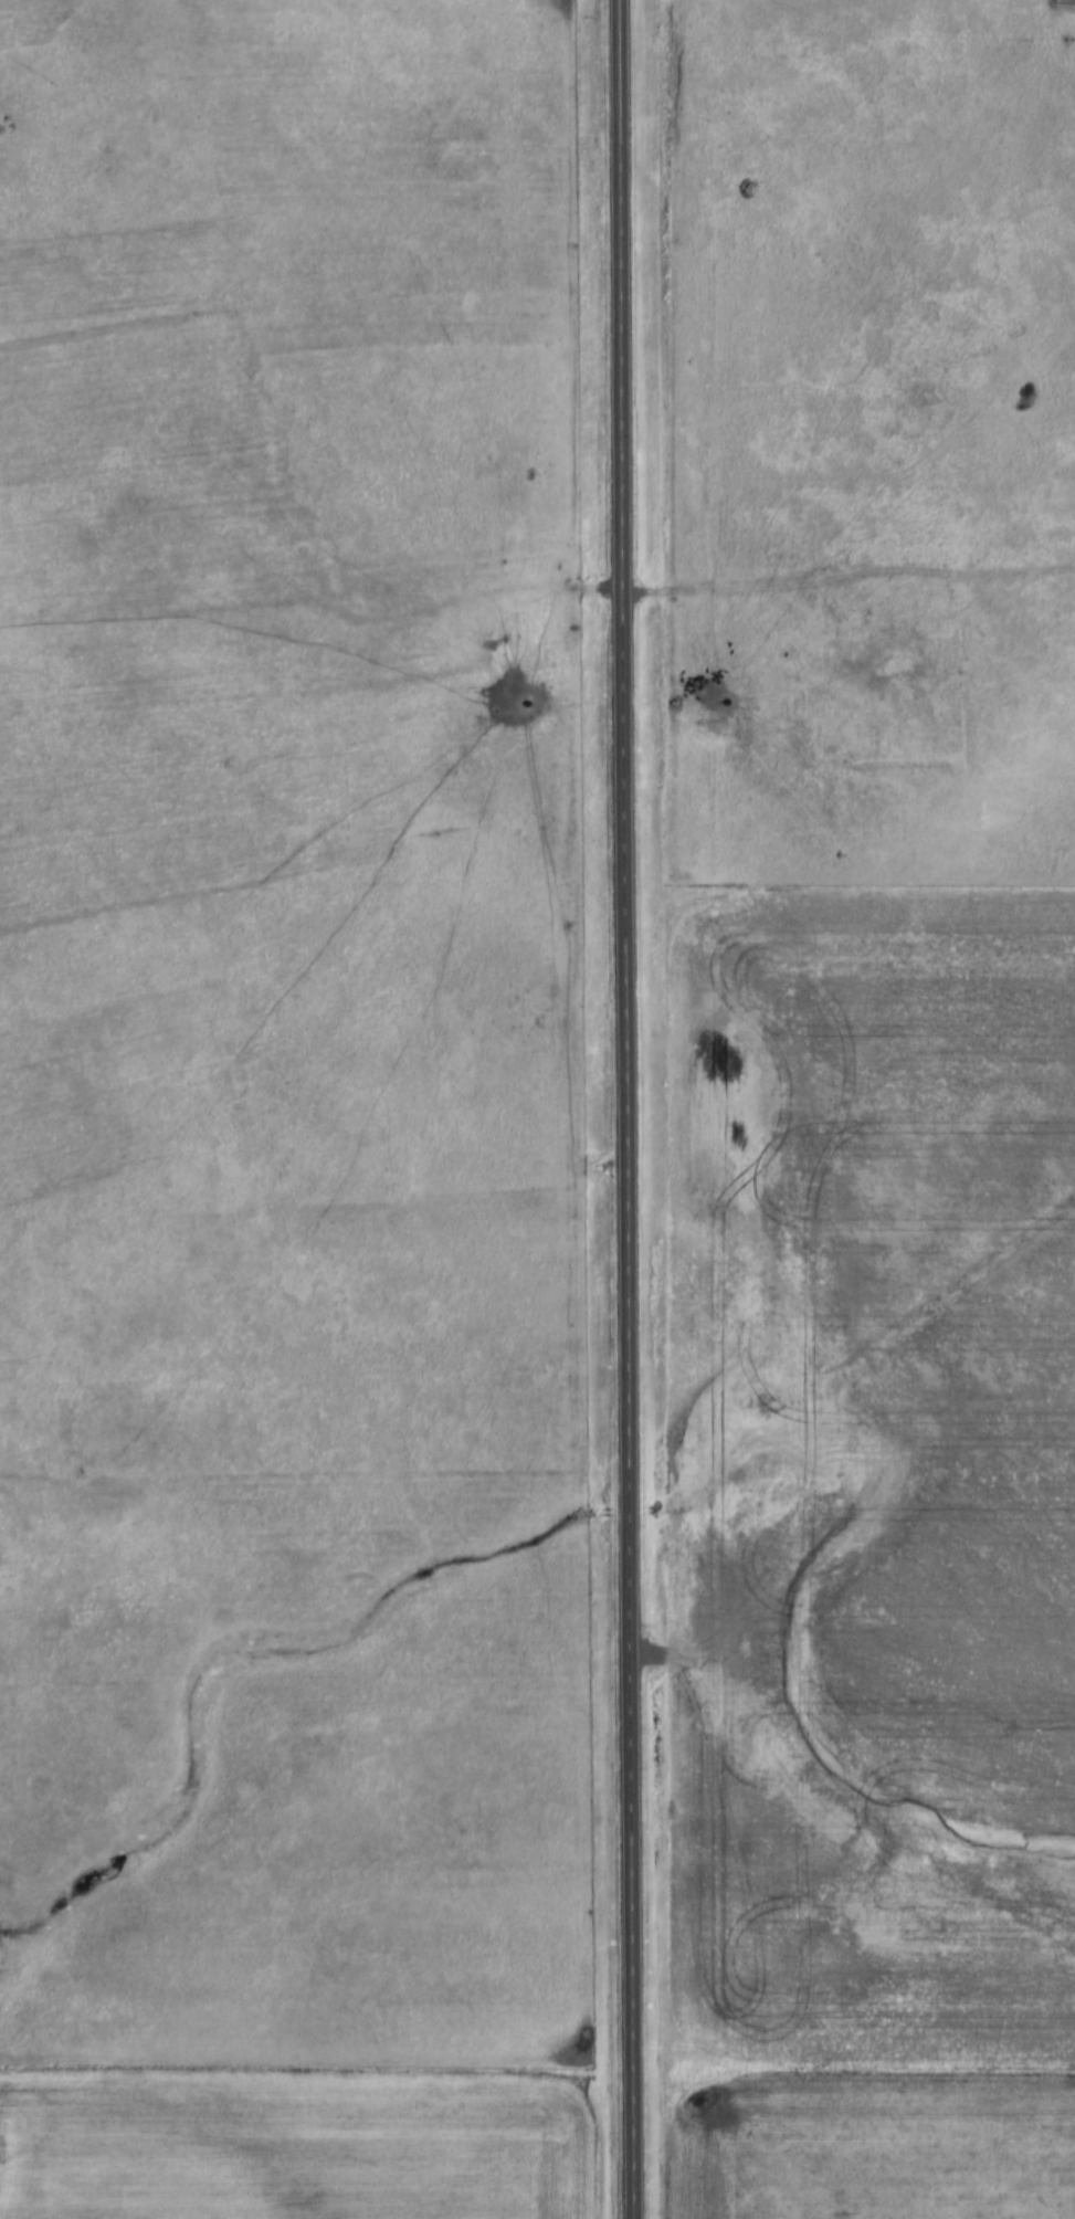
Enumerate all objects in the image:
road: (628, 1109)

